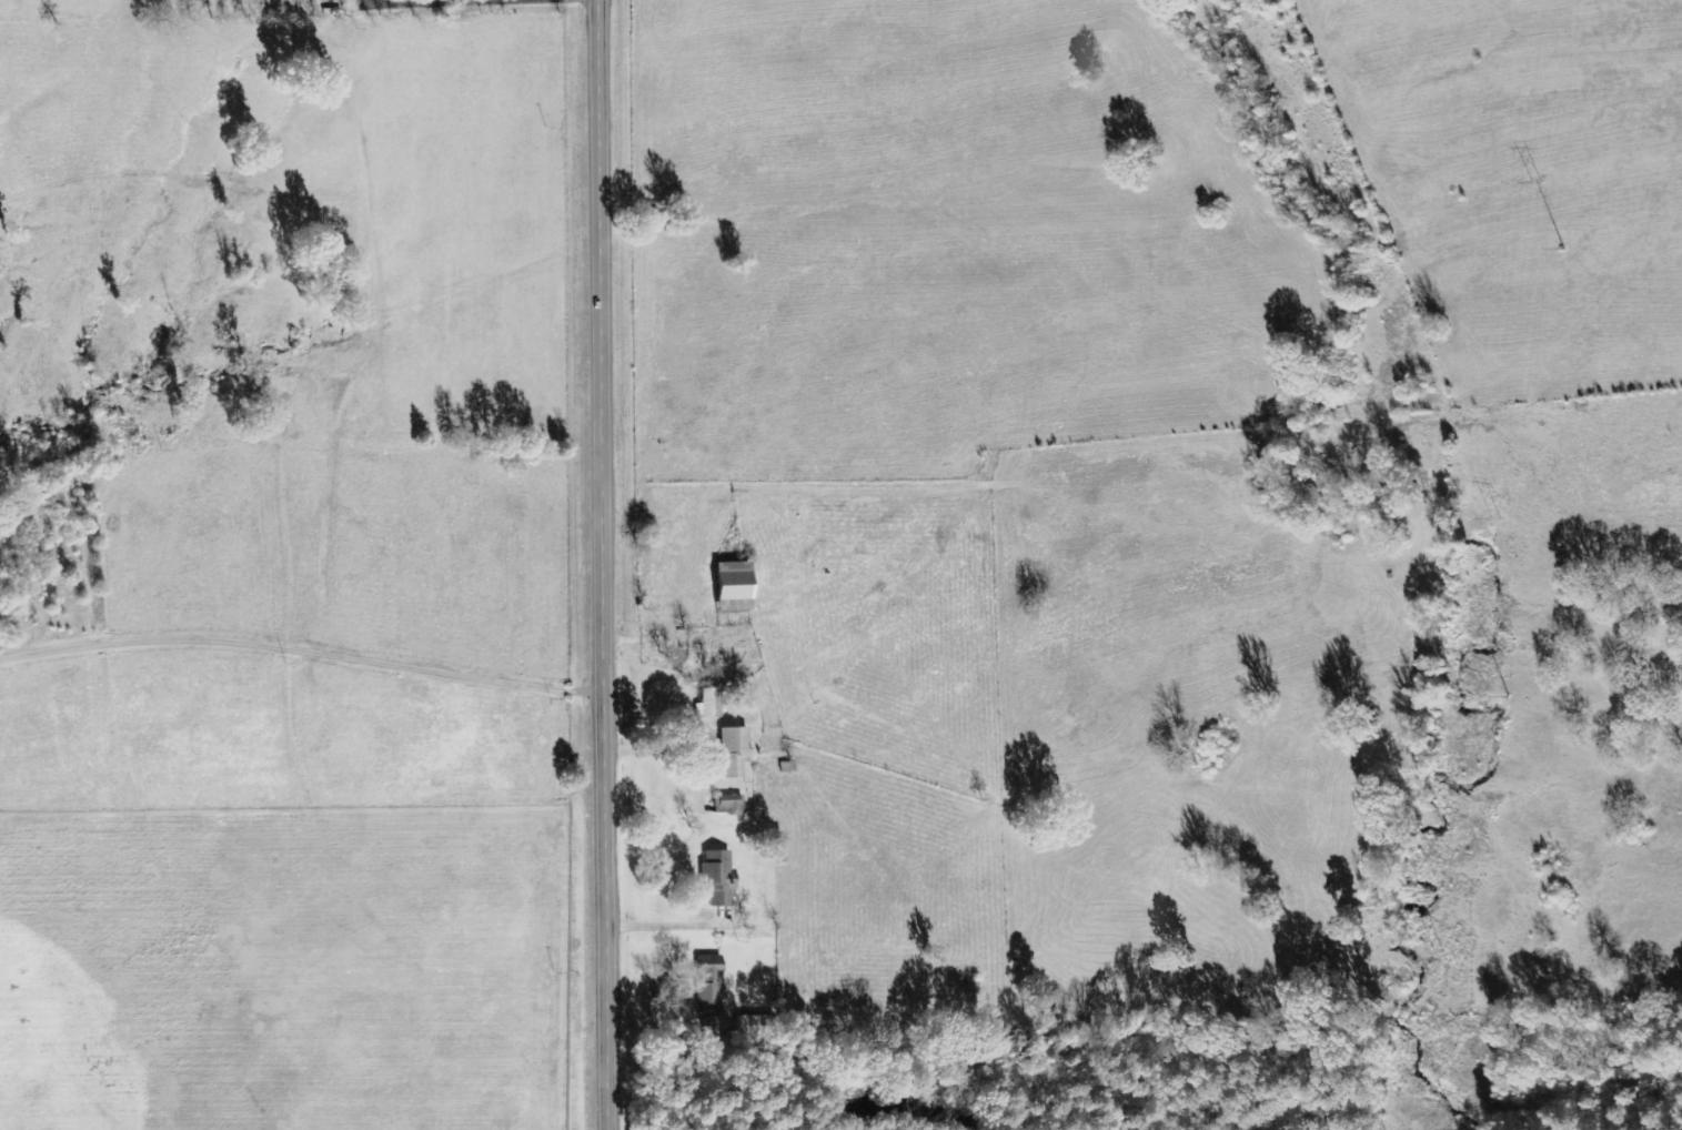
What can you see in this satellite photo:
road: (597, 565)
building: (727, 582)
building: (706, 704)
building: (729, 753)
building: (726, 805)
building: (714, 879)
building: (705, 987)

